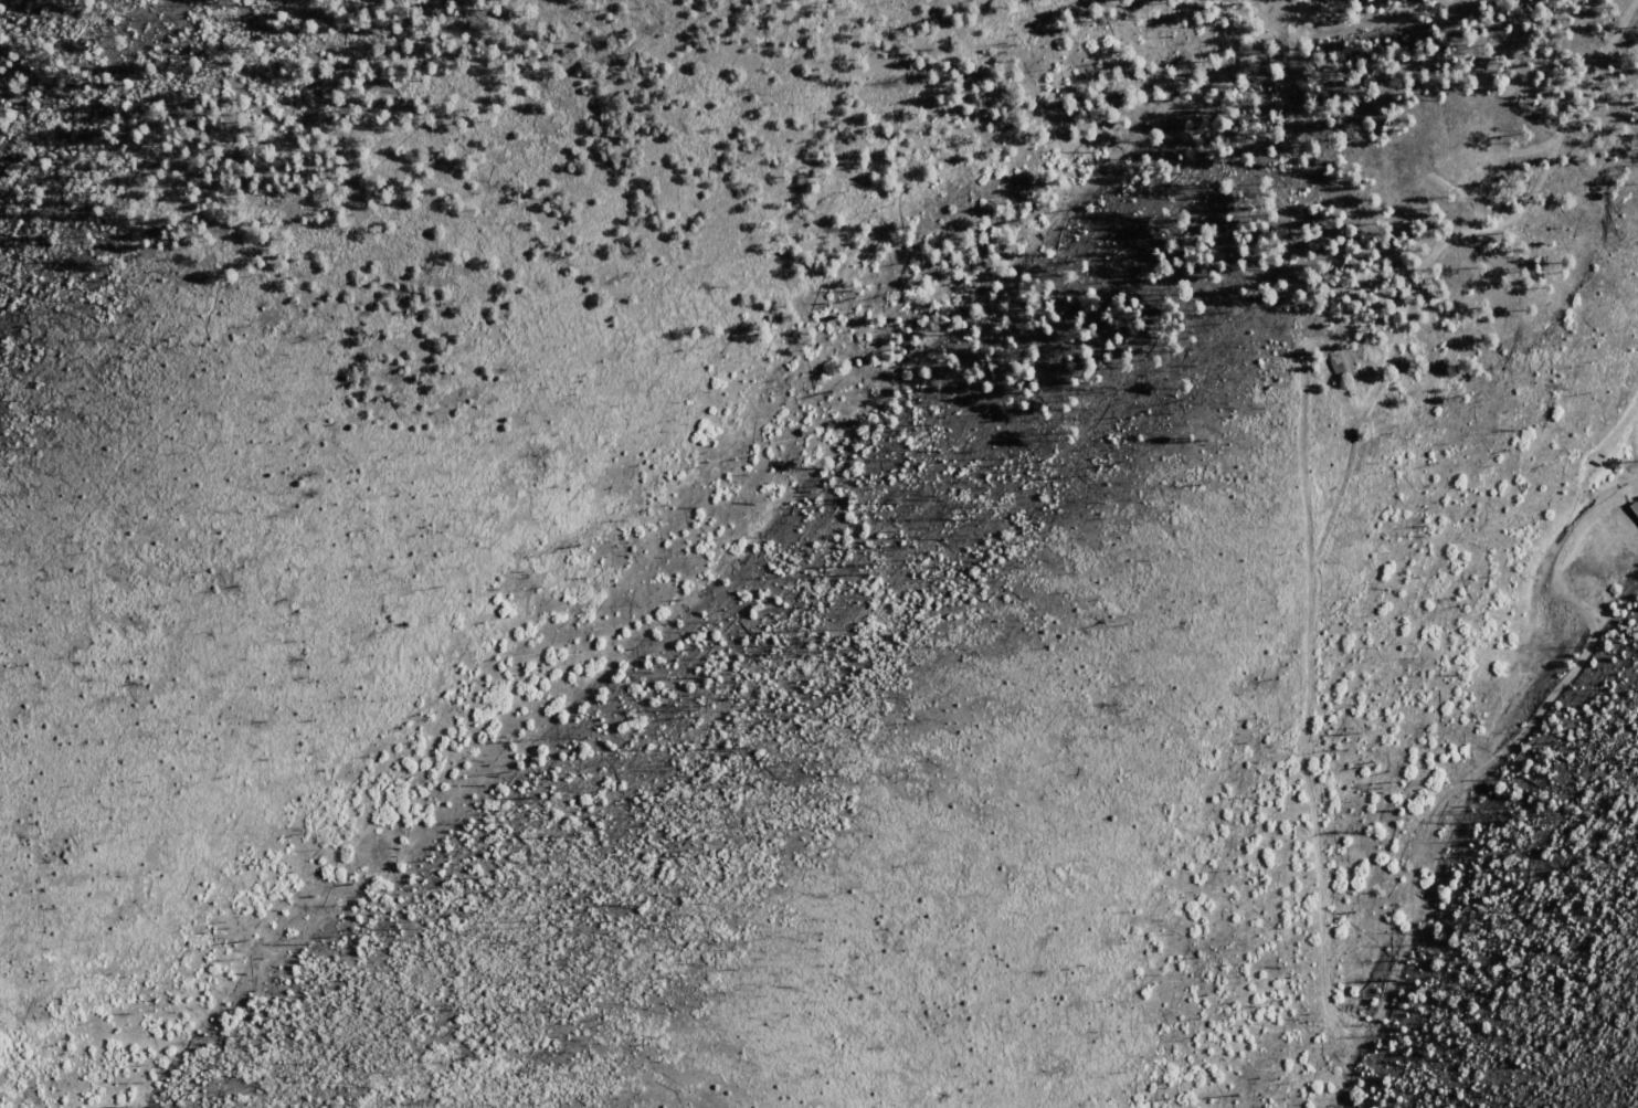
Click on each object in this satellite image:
road: (1360, 17)
road: (1636, 431)
road: (1637, 476)
road: (1294, 722)

